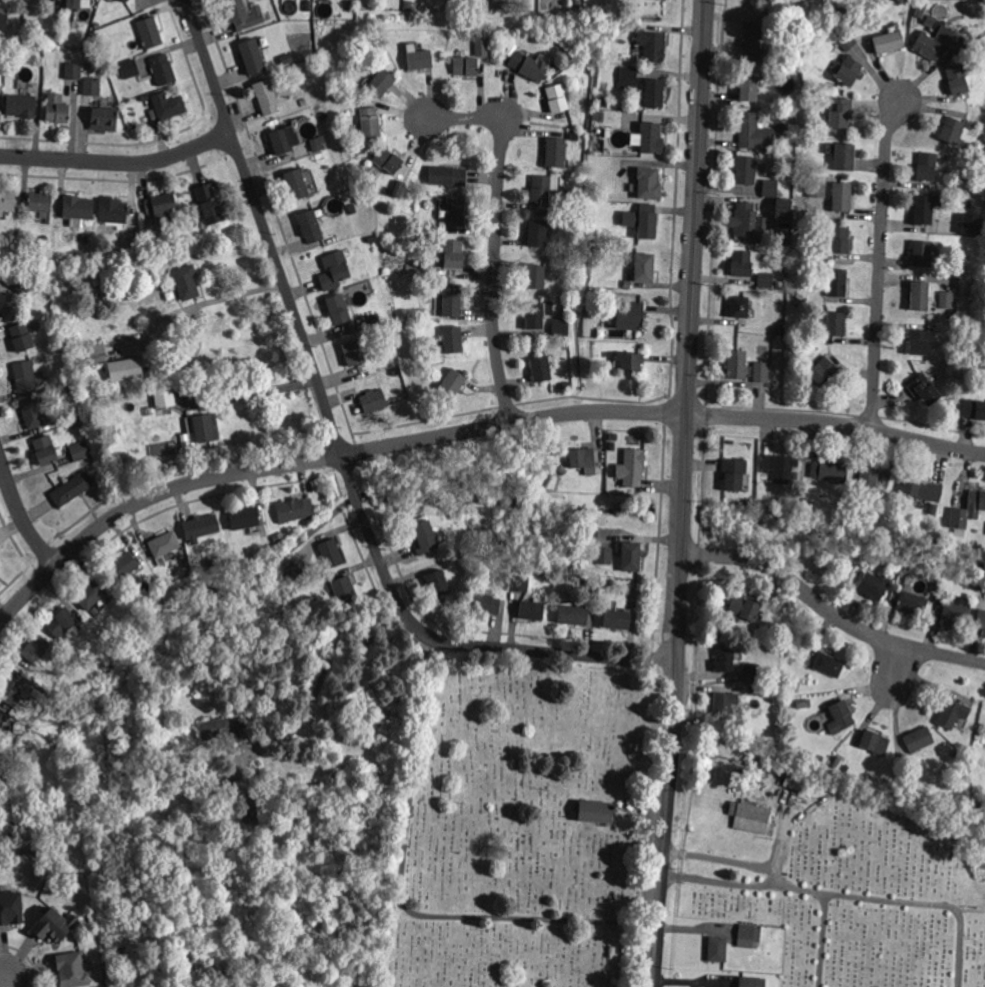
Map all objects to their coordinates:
building: (123, 0)
building: (126, 0)
building: (759, 0)
building: (409, 3)
building: (576, 3)
building: (72, 4)
building: (308, 5)
building: (351, 5)
building: (861, 9)
building: (922, 9)
building: (245, 13)
building: (4, 22)
building: (613, 26)
building: (16, 32)
building: (150, 32)
building: (753, 37)
building: (391, 41)
building: (846, 41)
building: (889, 41)
building: (939, 42)
building: (481, 43)
building: (654, 45)
building: (252, 53)
building: (420, 58)
building: (526, 62)
building: (467, 64)
building: (89, 66)
building: (129, 66)
building: (846, 68)
building: (163, 69)
building: (74, 70)
building: (983, 70)
building: (627, 75)
building: (957, 79)
building: (382, 81)
building: (91, 87)
building: (750, 87)
building: (655, 91)
building: (341, 92)
building: (265, 94)
building: (557, 95)
building: (21, 104)
building: (169, 104)
building: (56, 108)
building: (841, 110)
building: (104, 119)
building: (371, 121)
building: (754, 129)
building: (953, 129)
building: (282, 137)
building: (652, 137)
building: (320, 147)
building: (556, 151)
building: (844, 155)
building: (388, 159)
road: (119, 161)
building: (928, 165)
building: (747, 169)
building: (448, 174)
building: (650, 182)
building: (297, 183)
building: (396, 186)
building: (769, 186)
building: (540, 187)
building: (818, 188)
building: (843, 196)
building: (757, 197)
building: (7, 201)
building: (41, 201)
building: (210, 204)
building: (610, 205)
building: (78, 206)
building: (161, 206)
building: (783, 207)
building: (455, 208)
building: (924, 208)
building: (113, 210)
building: (343, 216)
building: (746, 218)
building: (648, 224)
building: (312, 225)
building: (977, 227)
road: (498, 231)
building: (538, 232)
building: (147, 236)
building: (838, 236)
building: (86, 237)
building: (135, 239)
building: (45, 240)
building: (923, 252)
building: (455, 253)
building: (740, 261)
road: (881, 262)
building: (429, 266)
building: (645, 266)
building: (336, 270)
building: (957, 270)
building: (536, 275)
building: (767, 278)
building: (22, 280)
building: (187, 280)
building: (838, 281)
building: (954, 282)
building: (921, 295)
building: (452, 298)
building: (946, 299)
building: (2, 300)
building: (554, 303)
building: (740, 306)
building: (339, 307)
building: (29, 308)
building: (420, 312)
building: (630, 314)
building: (536, 315)
building: (373, 316)
road: (155, 321)
building: (837, 322)
building: (561, 326)
road: (692, 329)
building: (23, 336)
building: (454, 338)
building: (921, 340)
building: (954, 341)
building: (568, 345)
building: (802, 350)
building: (354, 351)
building: (96, 354)
building: (627, 358)
building: (735, 362)
building: (542, 368)
building: (125, 369)
building: (824, 370)
building: (762, 371)
building: (25, 374)
building: (453, 381)
building: (925, 388)
road: (262, 389)
building: (163, 395)
building: (374, 399)
building: (974, 408)
building: (33, 411)
building: (202, 424)
building: (112, 429)
road: (467, 430)
road: (338, 440)
building: (613, 445)
building: (46, 449)
building: (80, 451)
building: (583, 456)
building: (631, 465)
building: (780, 468)
building: (829, 471)
building: (555, 472)
building: (734, 472)
building: (887, 478)
building: (869, 479)
building: (73, 487)
building: (922, 487)
building: (555, 490)
building: (837, 506)
building: (291, 508)
building: (933, 508)
building: (969, 510)
road: (20, 512)
building: (244, 516)
building: (205, 524)
building: (425, 536)
building: (469, 538)
building: (165, 542)
building: (332, 552)
building: (467, 553)
building: (603, 553)
building: (631, 555)
building: (851, 564)
building: (122, 565)
building: (474, 565)
building: (293, 569)
building: (608, 580)
building: (439, 581)
building: (520, 582)
building: (591, 582)
building: (977, 582)
building: (873, 585)
building: (934, 587)
building: (345, 589)
building: (91, 593)
building: (940, 596)
building: (984, 596)
building: (913, 601)
building: (484, 602)
building: (741, 607)
building: (532, 608)
building: (96, 610)
road: (829, 610)
building: (956, 613)
building: (574, 614)
building: (761, 614)
building: (617, 618)
building: (62, 620)
building: (981, 620)
building: (36, 646)
building: (725, 658)
building: (830, 663)
road: (900, 666)
building: (752, 671)
building: (10, 689)
building: (763, 690)
building: (724, 702)
building: (787, 703)
building: (804, 704)
building: (950, 710)
building: (1, 712)
building: (841, 717)
building: (226, 727)
building: (920, 738)
building: (876, 741)
building: (968, 741)
building: (964, 748)
building: (1, 762)
building: (760, 764)
building: (876, 768)
building: (0, 772)
building: (796, 779)
building: (235, 783)
building: (809, 789)
building: (126, 801)
building: (980, 806)
building: (595, 808)
building: (748, 814)
road: (668, 822)
park: (654, 840)
road: (782, 880)
road: (803, 887)
road: (930, 903)
building: (11, 909)
building: (53, 926)
building: (749, 934)
road: (822, 939)
building: (718, 948)
building: (72, 970)
building: (752, 981)
road: (7, 982)
building: (709, 986)
building: (725, 986)

